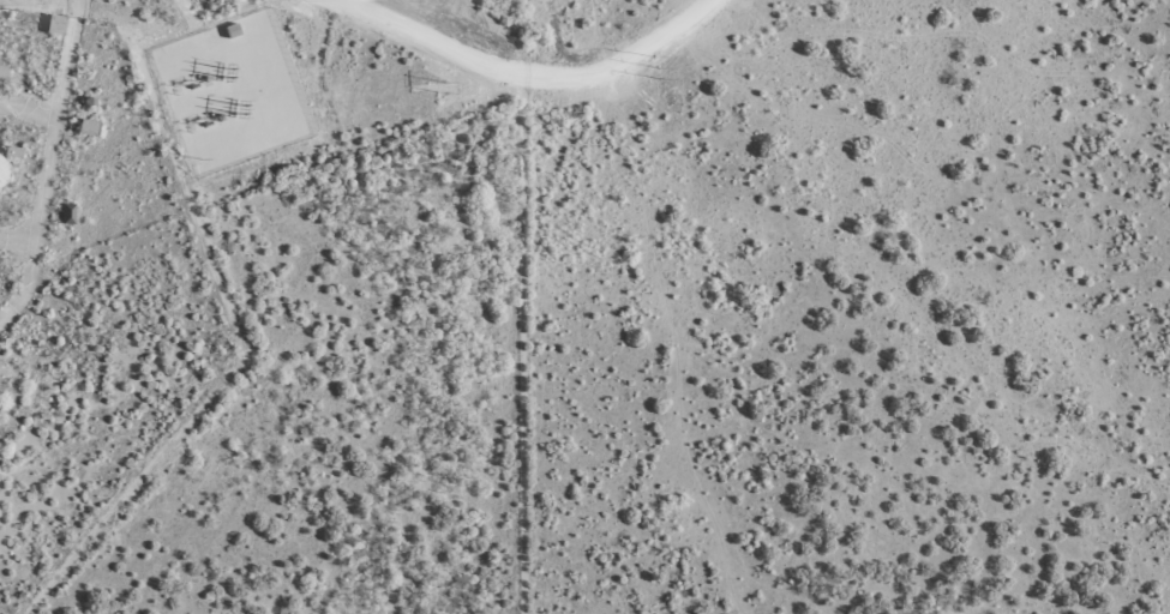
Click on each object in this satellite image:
building: (229, 30)
power tower: (662, 70)
power tower: (232, 72)
road: (506, 82)
power tower: (449, 89)
power substation: (233, 90)
power tower: (247, 109)
road: (30, 112)
road: (59, 128)
road: (35, 284)

